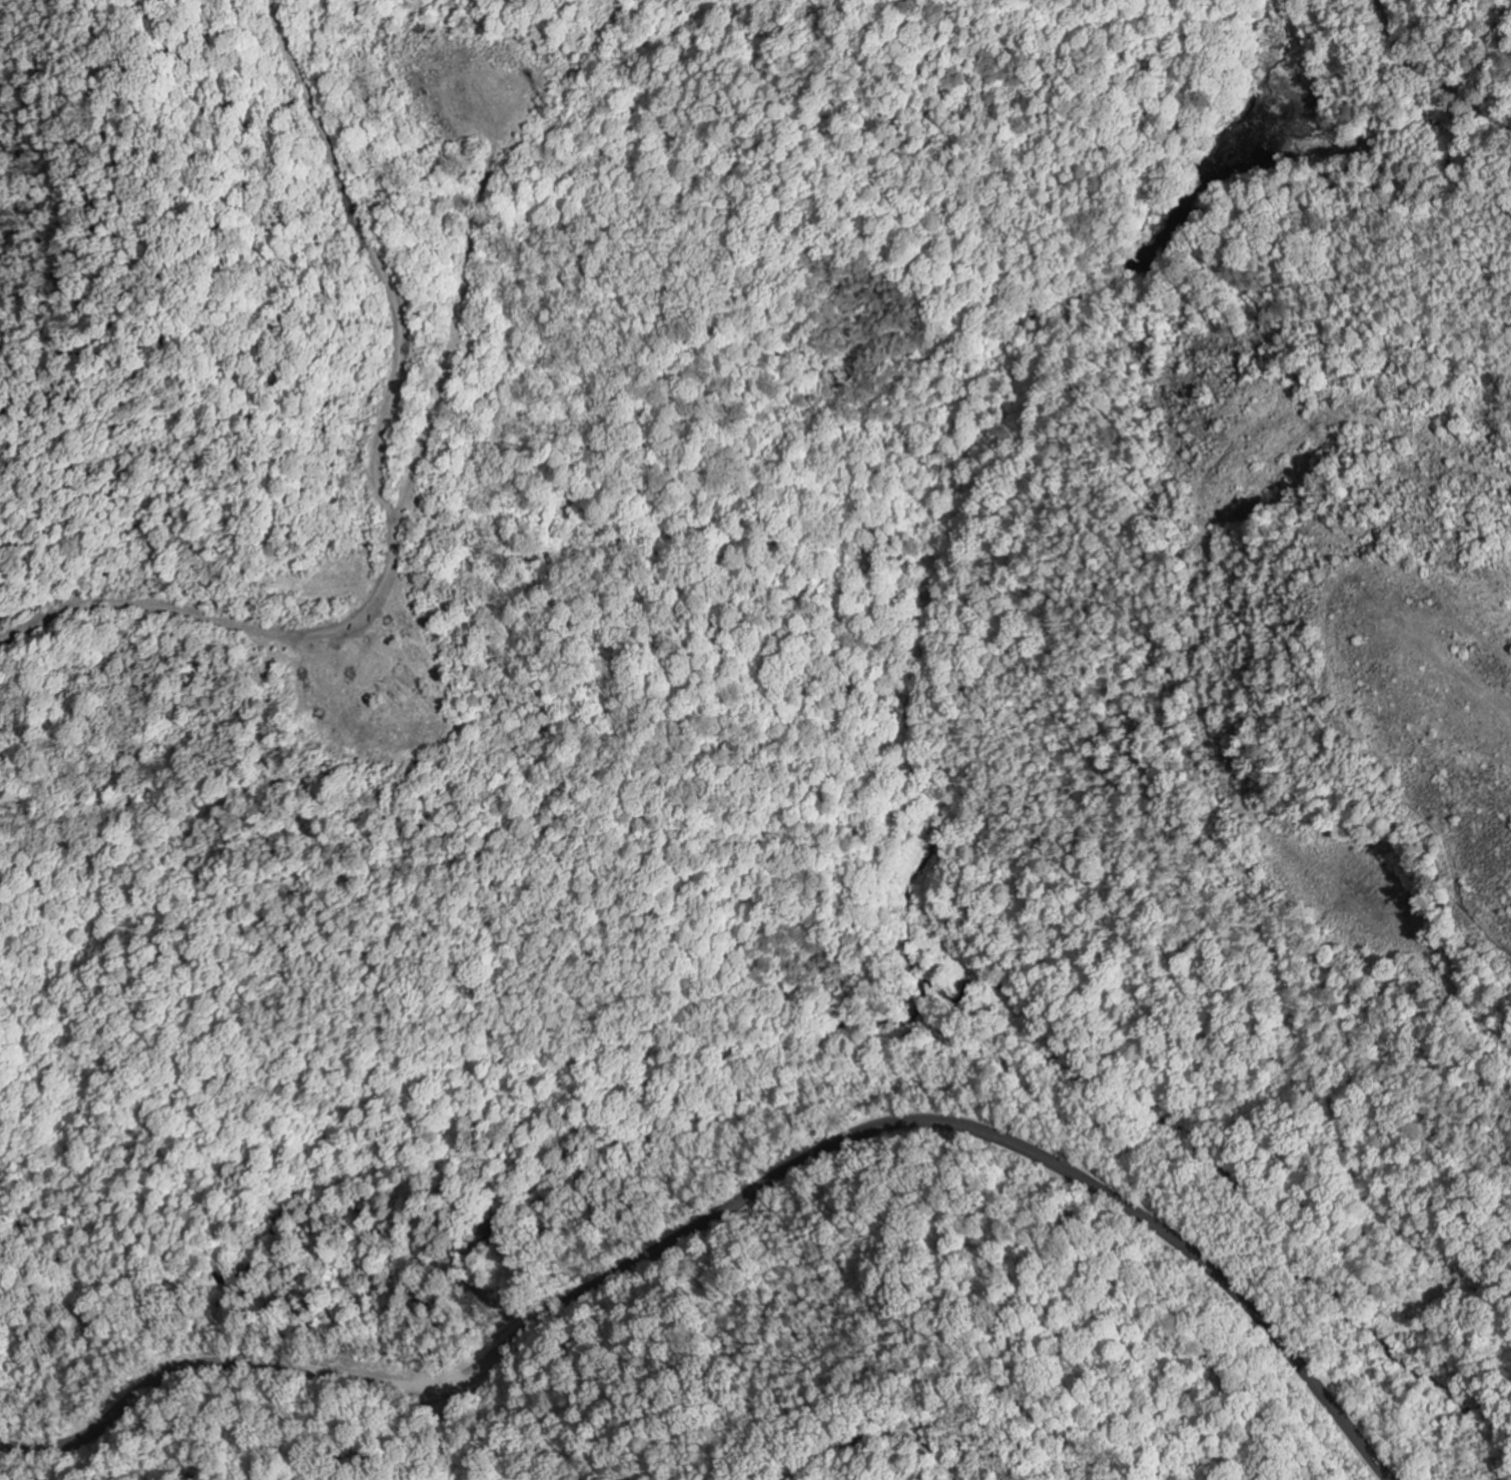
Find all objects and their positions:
road: (734, 1200)

